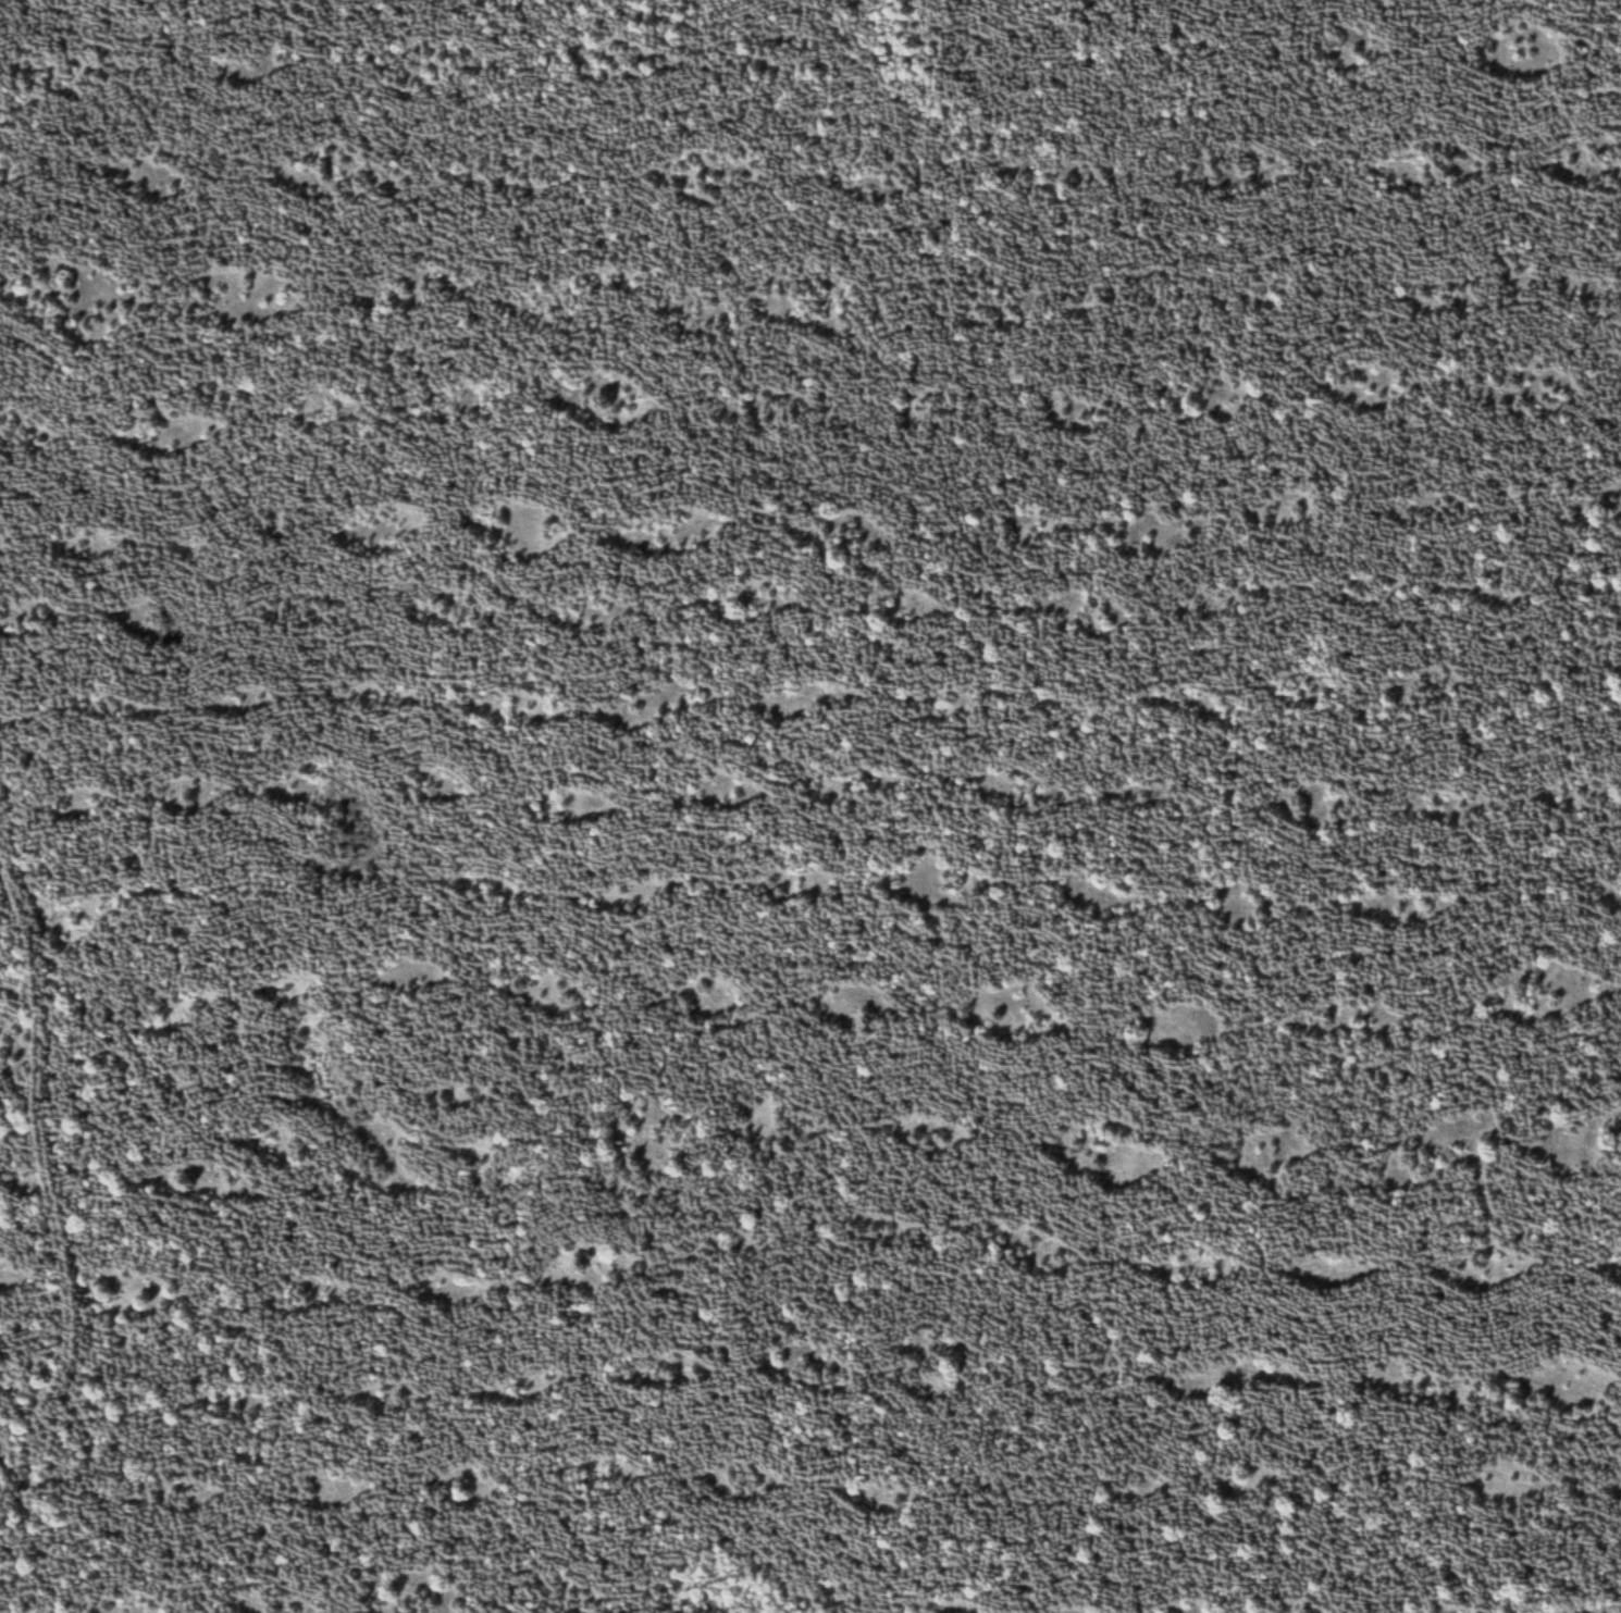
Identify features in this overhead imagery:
road: (714, 1357)

